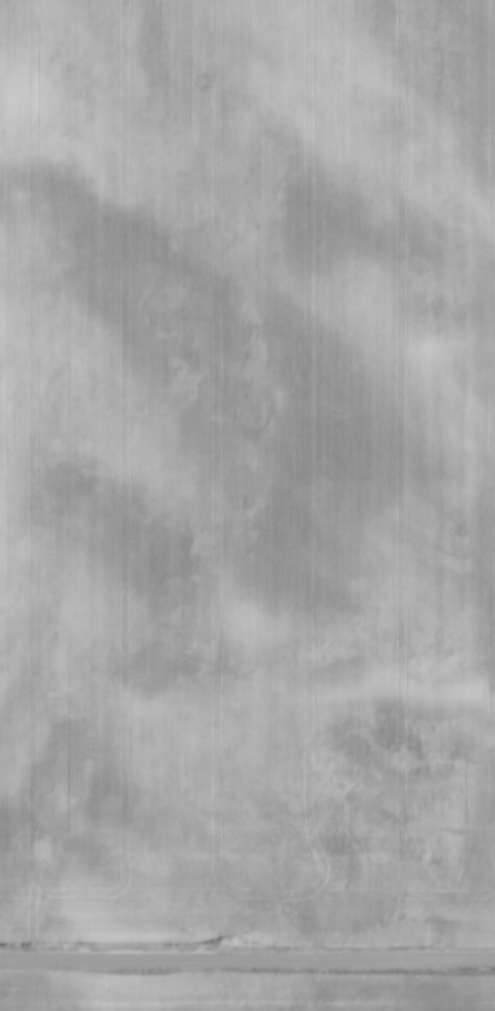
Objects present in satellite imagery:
road: (247, 955)

